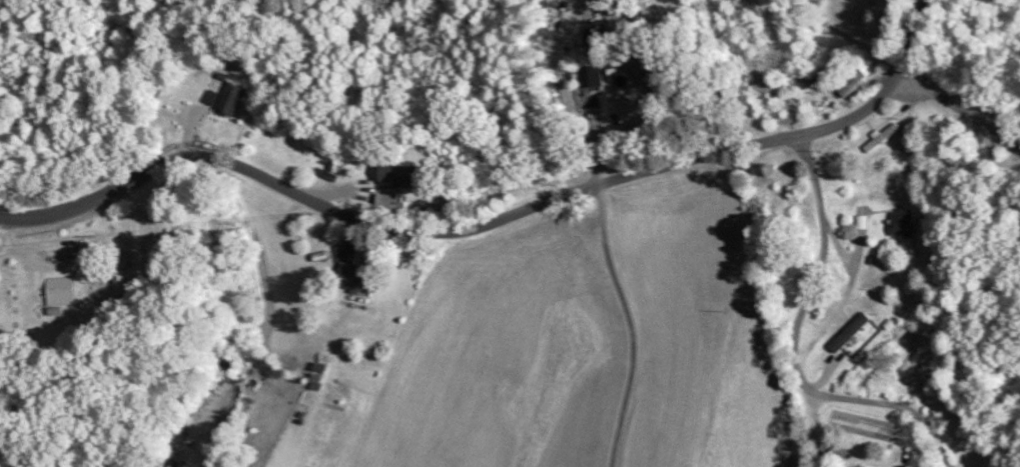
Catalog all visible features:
building: (595, 70)
building: (233, 99)
road: (961, 107)
building: (643, 108)
building: (888, 138)
building: (397, 174)
building: (396, 202)
building: (908, 223)
road: (490, 227)
building: (65, 292)
building: (855, 332)
road: (797, 348)
building: (881, 466)

